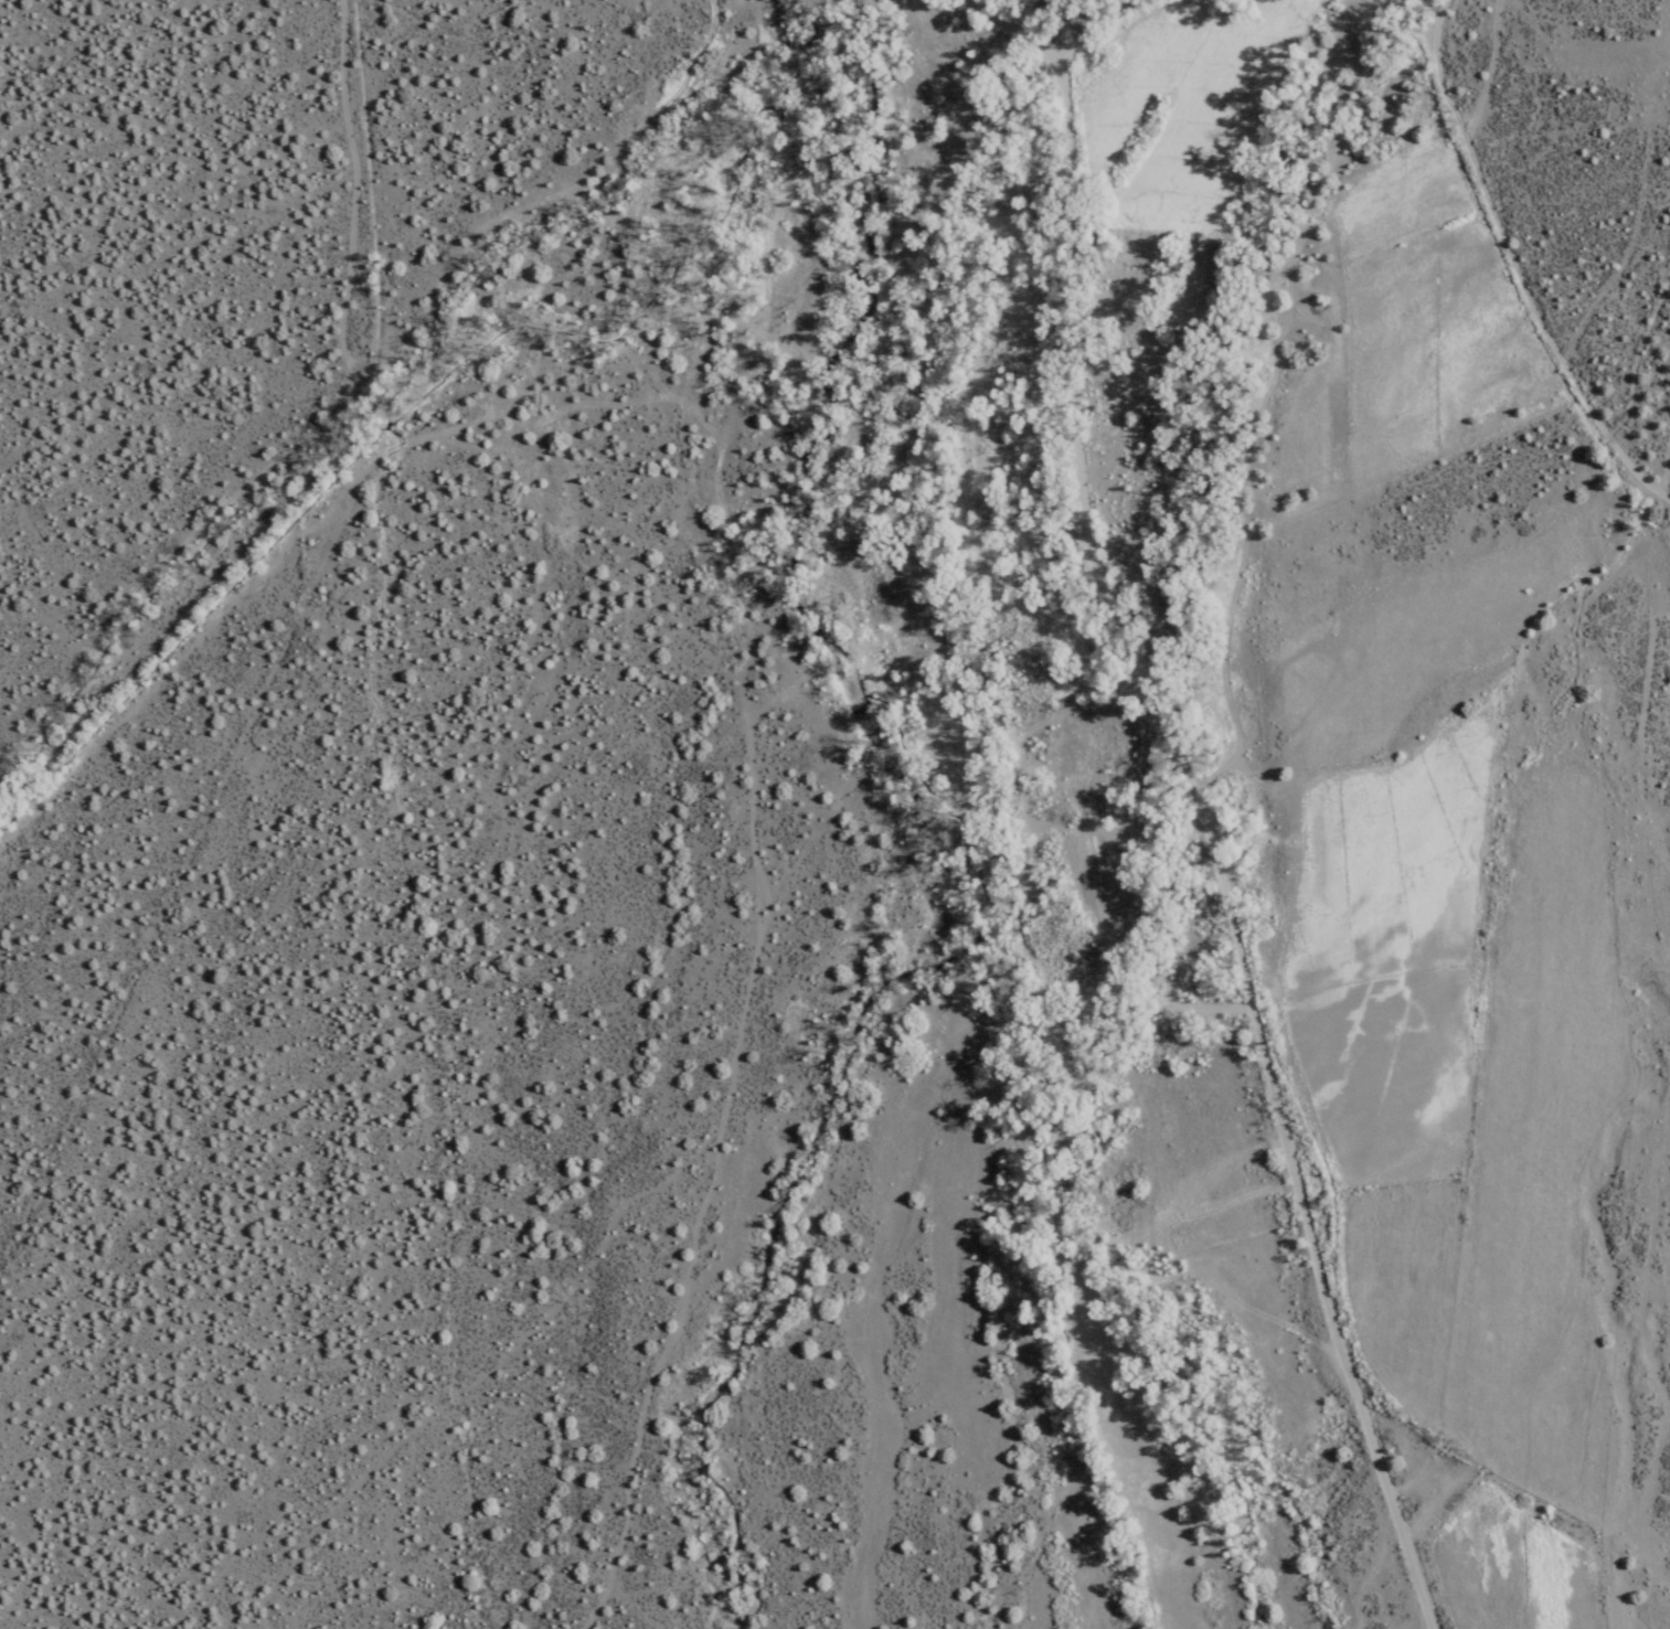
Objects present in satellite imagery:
road: (990, 14)
road: (1050, 14)
road: (687, 104)
road: (1189, 832)

